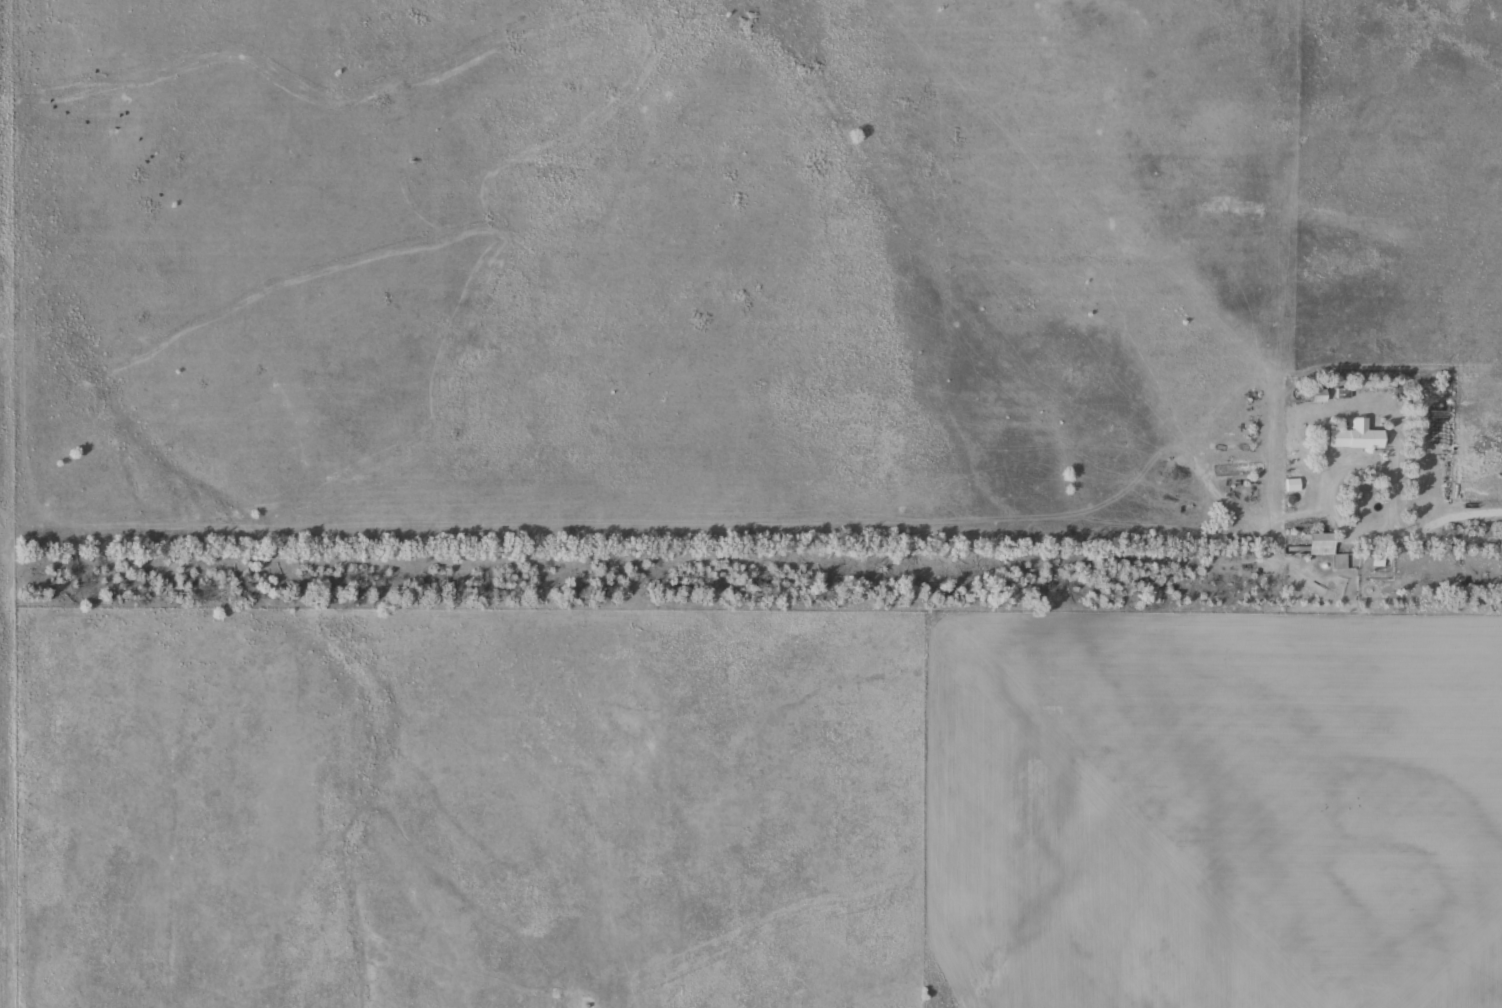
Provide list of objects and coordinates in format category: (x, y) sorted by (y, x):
building: (1313, 396)
building: (1348, 437)
road: (1432, 509)
building: (1302, 544)

